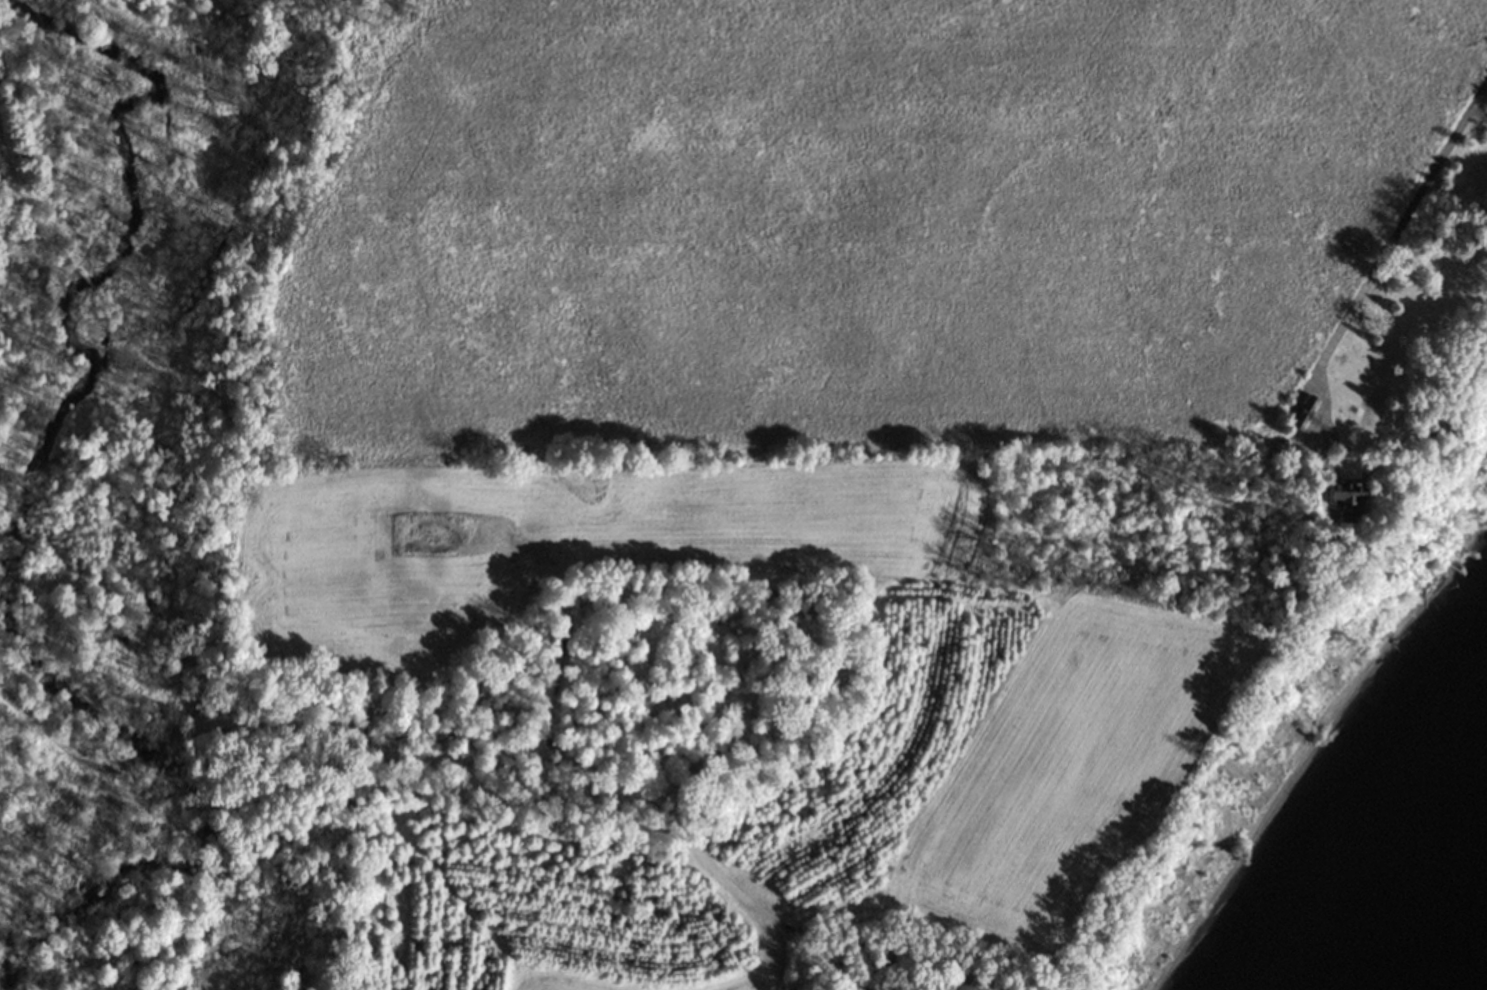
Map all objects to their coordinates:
road: (1474, 114)
road: (1392, 231)
road: (61, 742)
road: (143, 749)
road: (443, 756)

